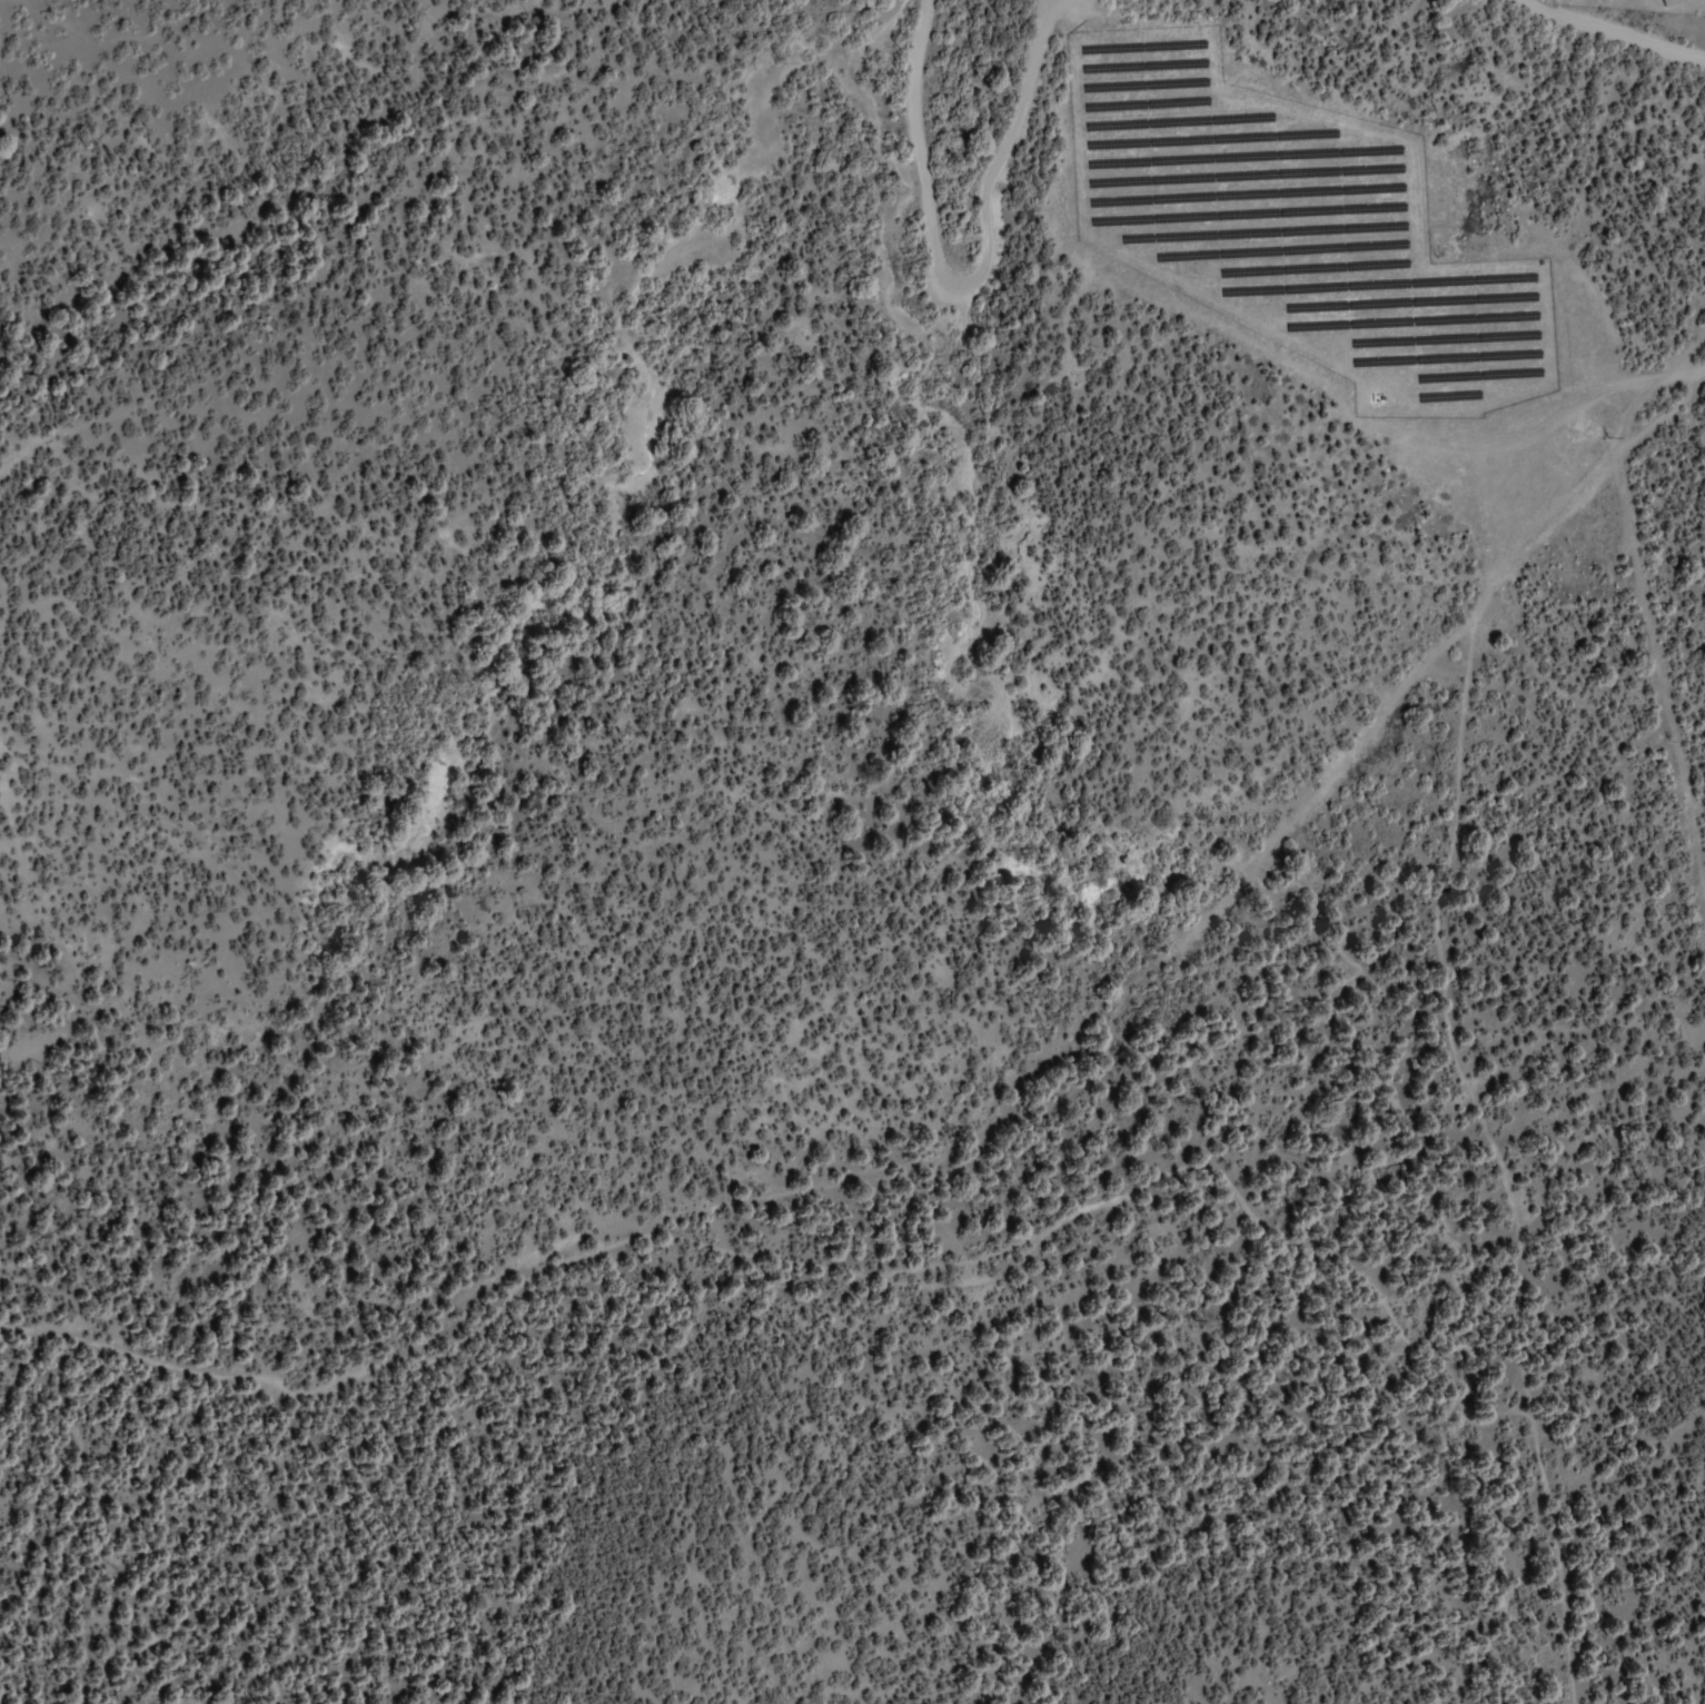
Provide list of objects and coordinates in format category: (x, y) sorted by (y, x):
building: (1668, 2)
road: (1617, 34)
road: (968, 286)

